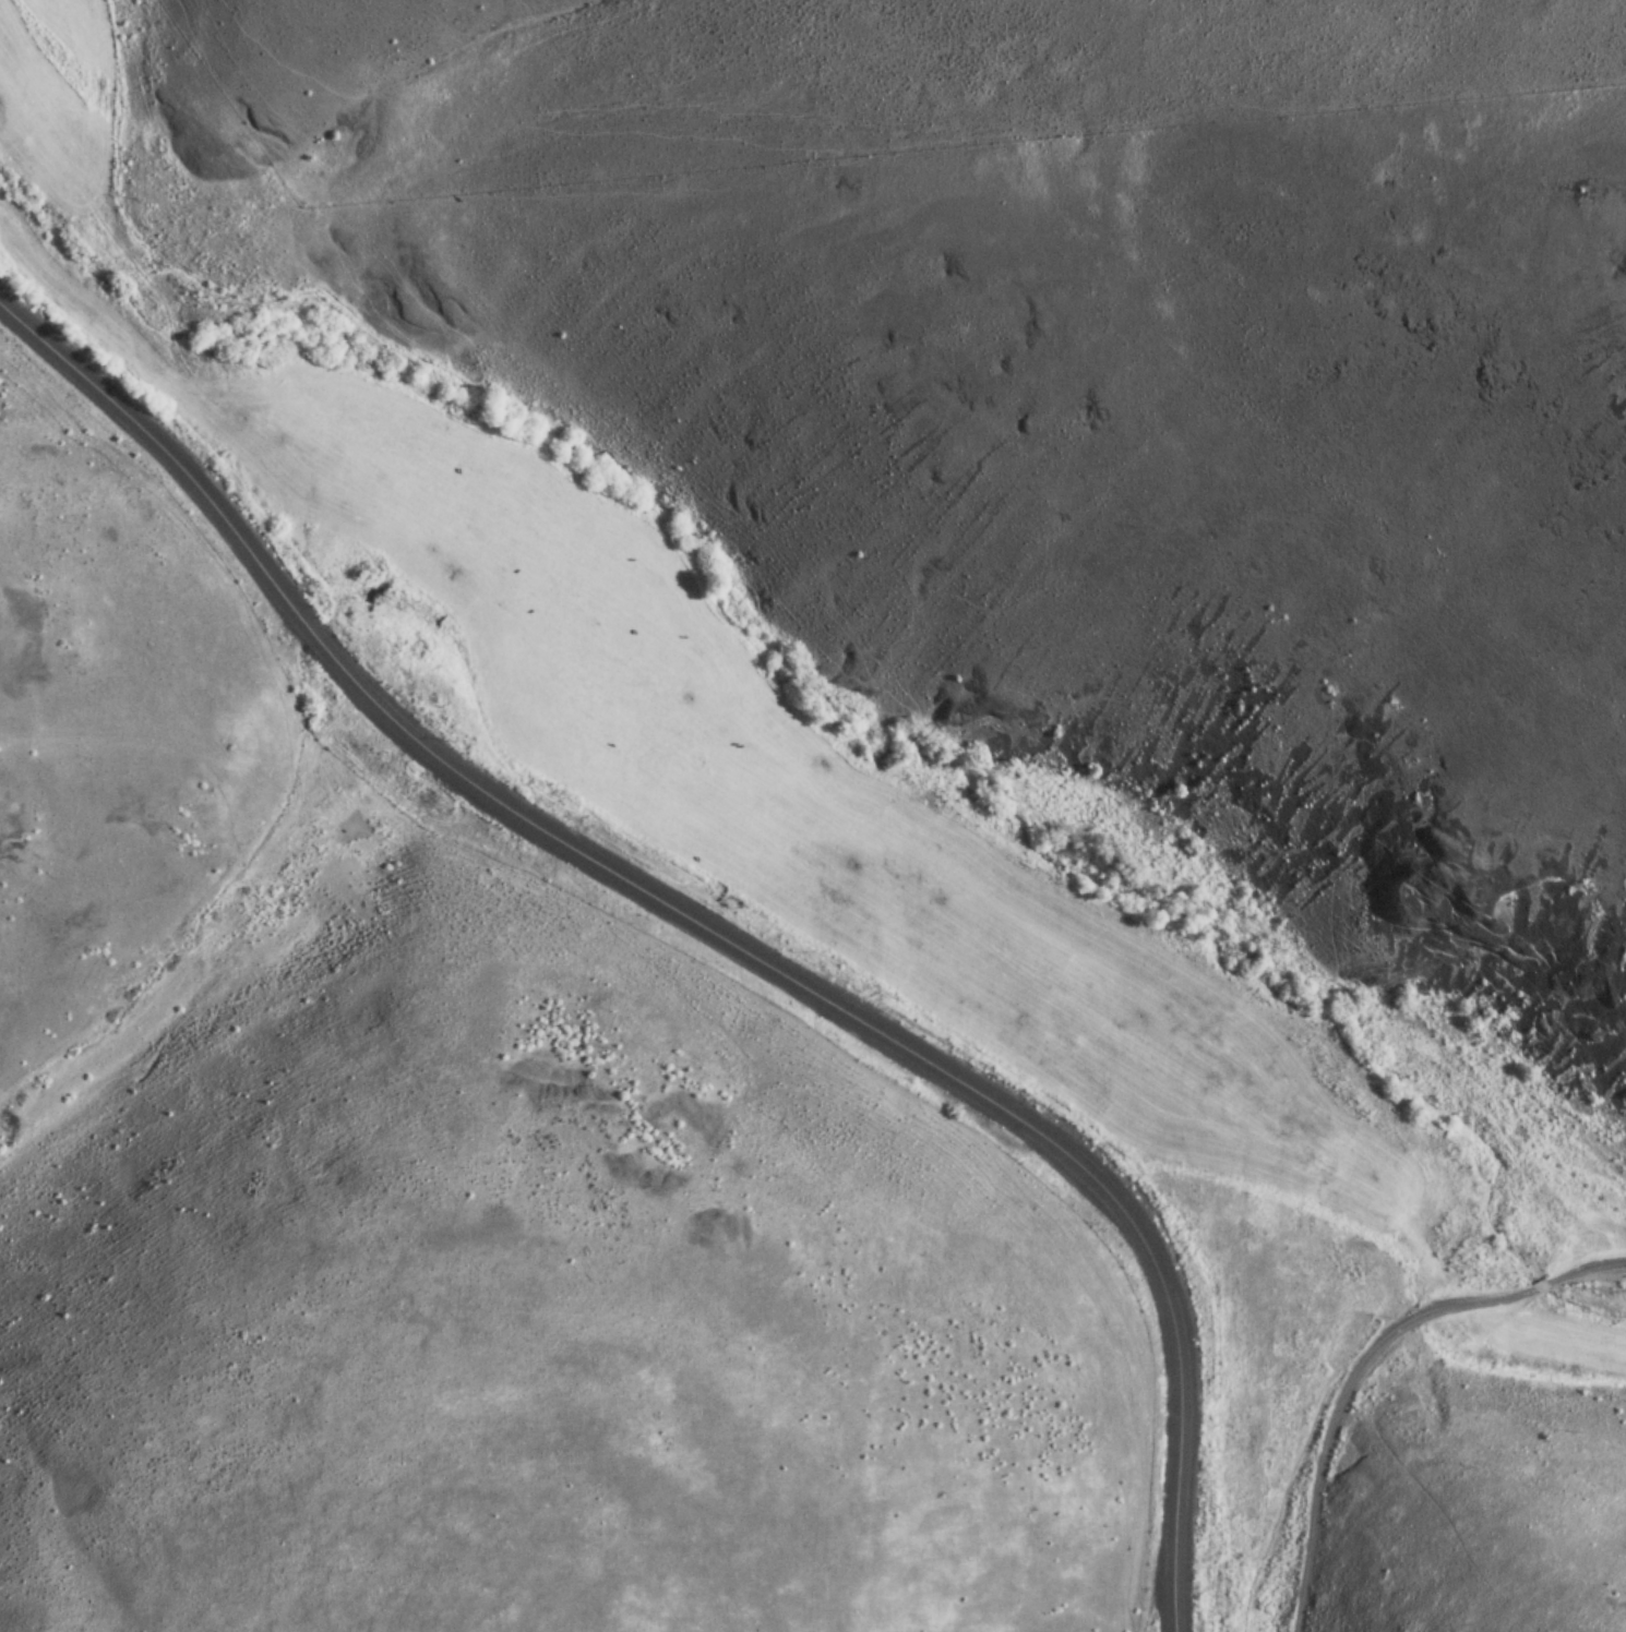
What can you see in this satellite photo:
road: (700, 926)
road: (1364, 1364)

